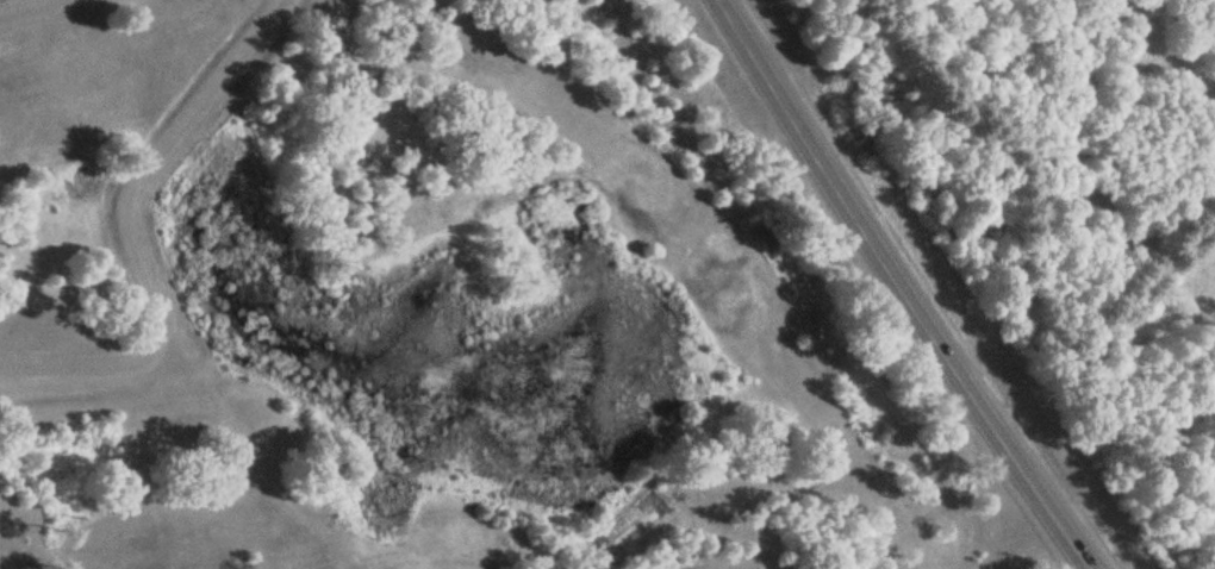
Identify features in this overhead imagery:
road: (21, 5)
park: (98, 81)
road: (136, 246)
road: (904, 287)
park: (279, 531)

